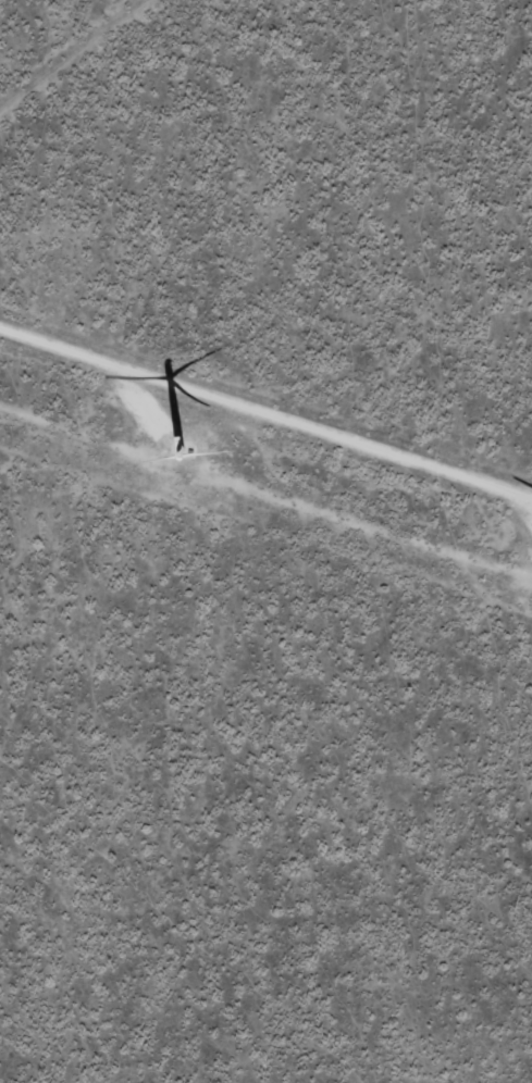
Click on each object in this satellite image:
road: (83, 63)
wind turbine: (172, 463)

